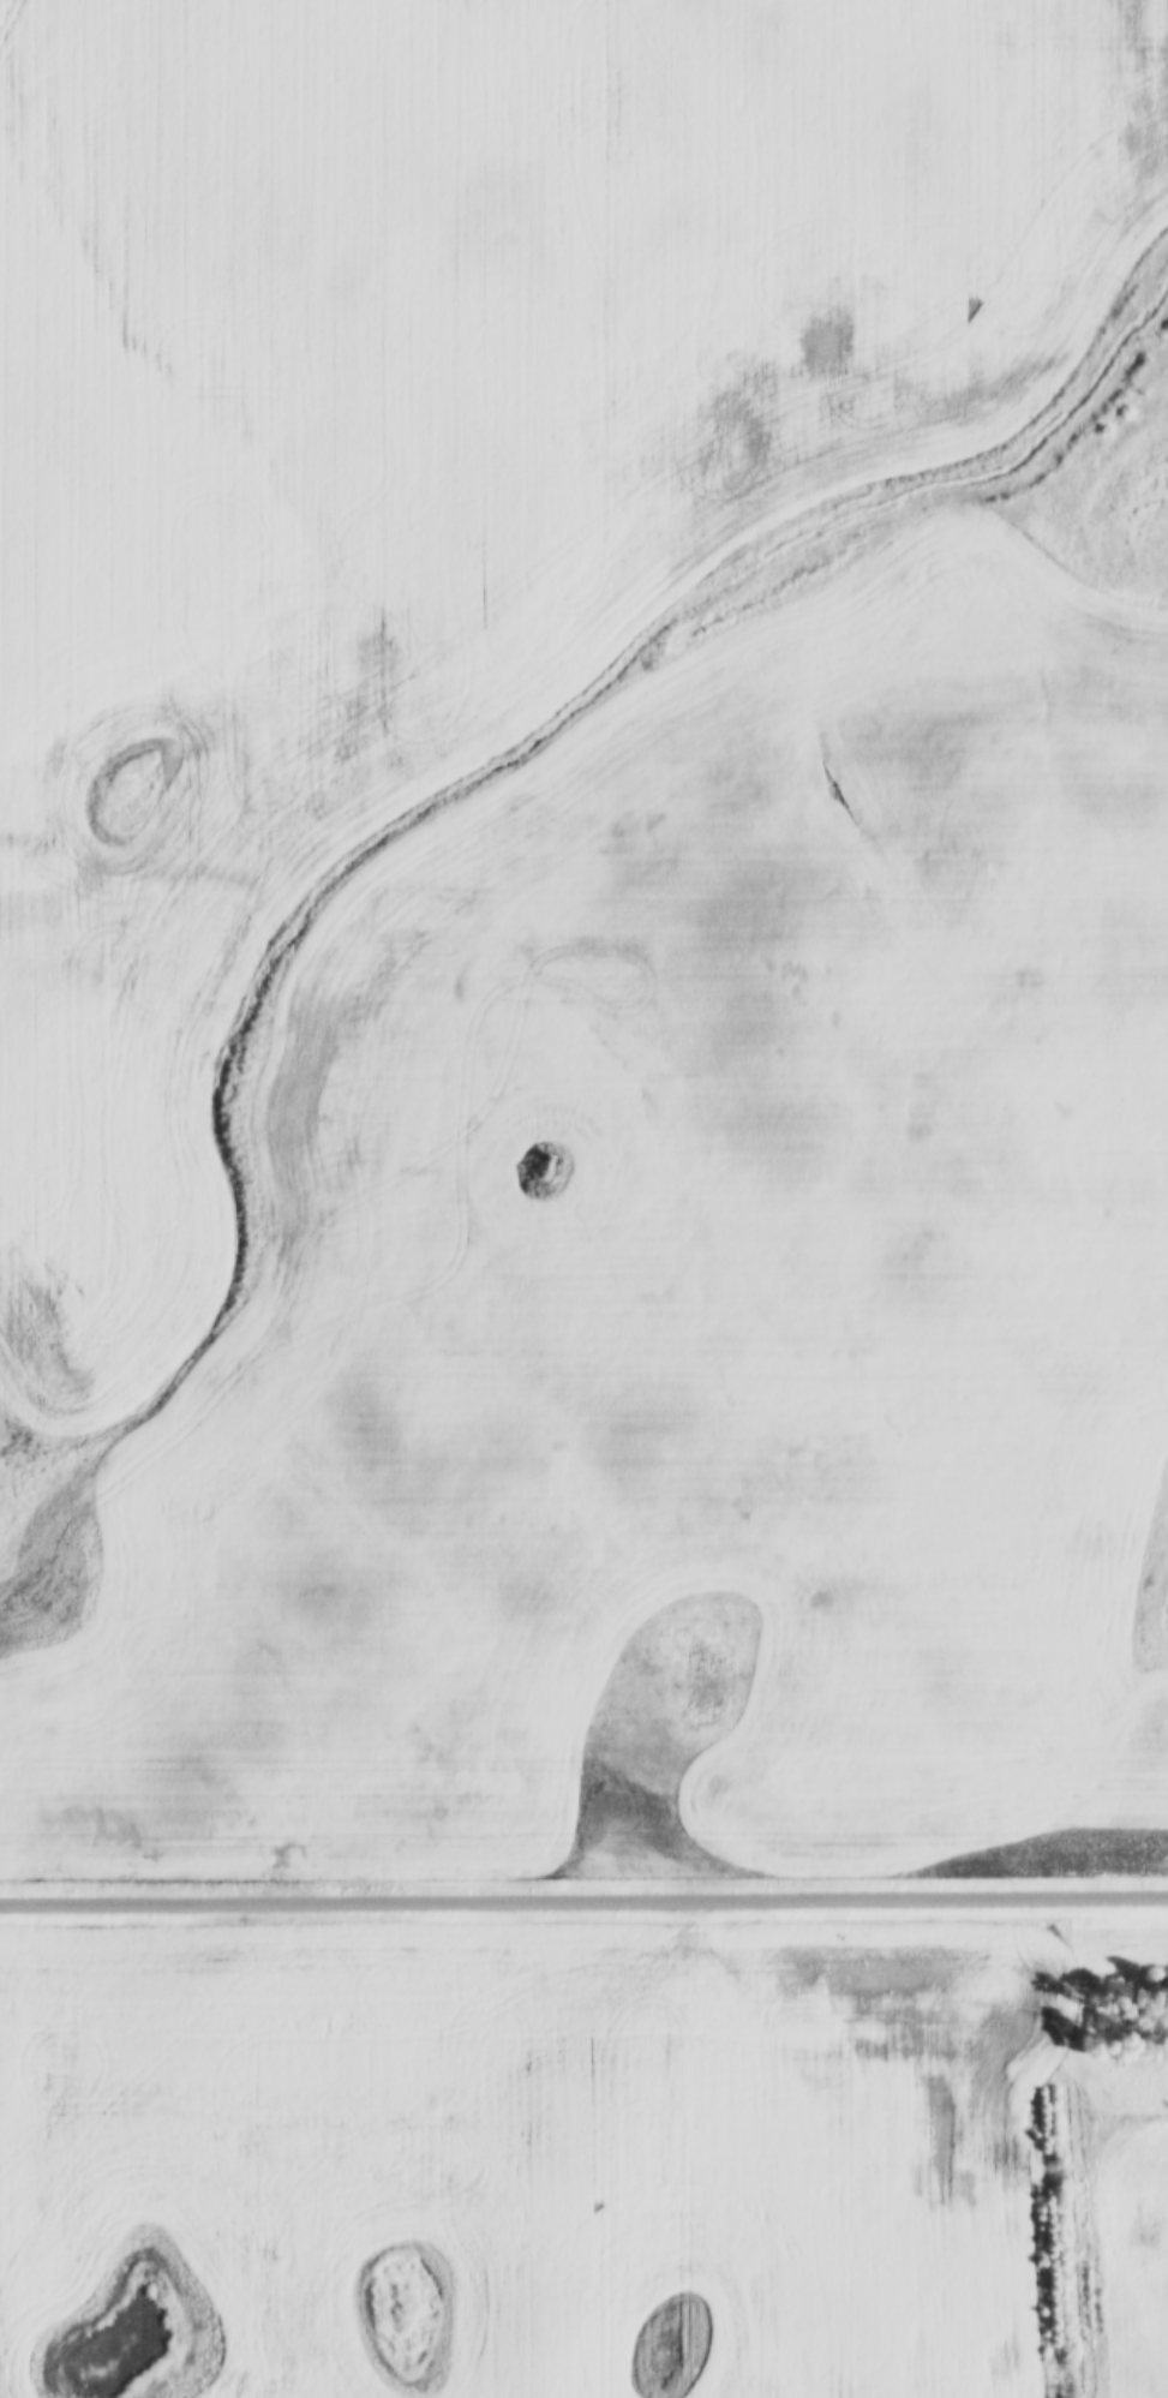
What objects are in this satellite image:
road: (583, 1897)

